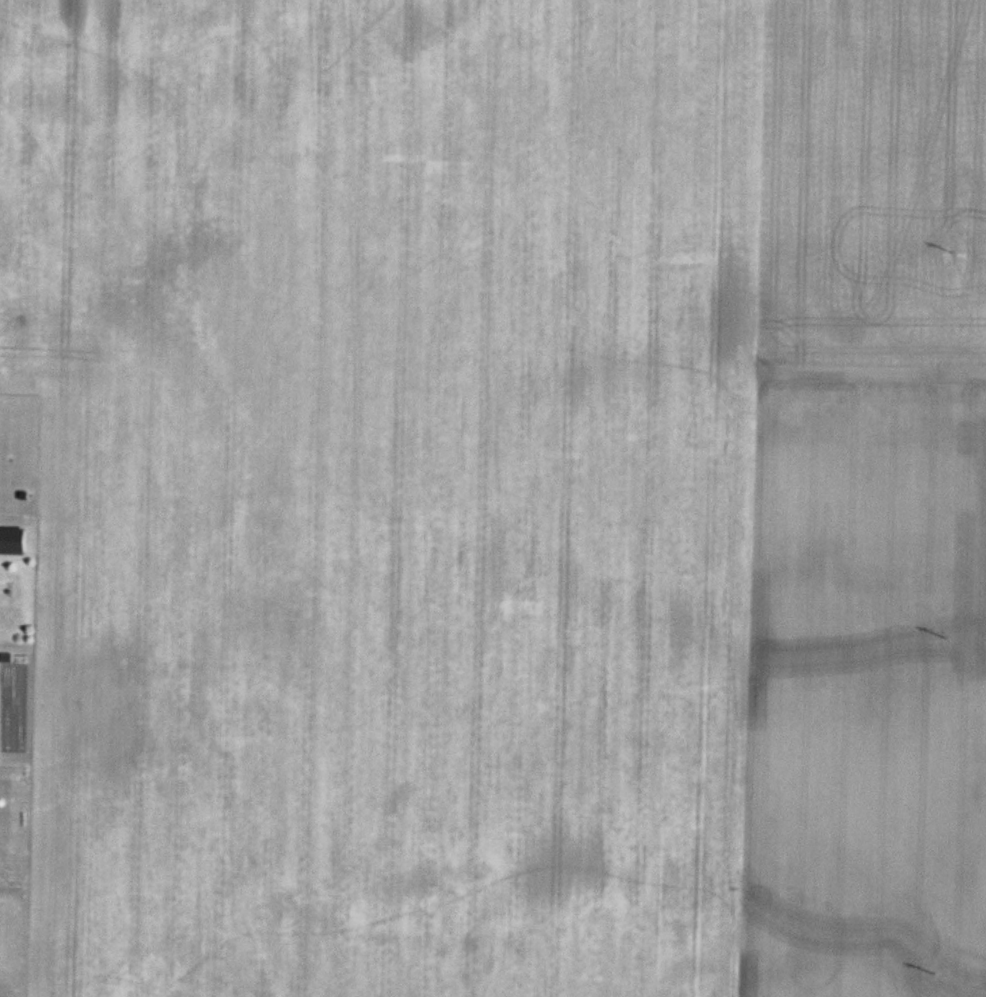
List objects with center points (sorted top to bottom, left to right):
power tower: (949, 251)
power tower: (943, 635)
power tower: (932, 973)

